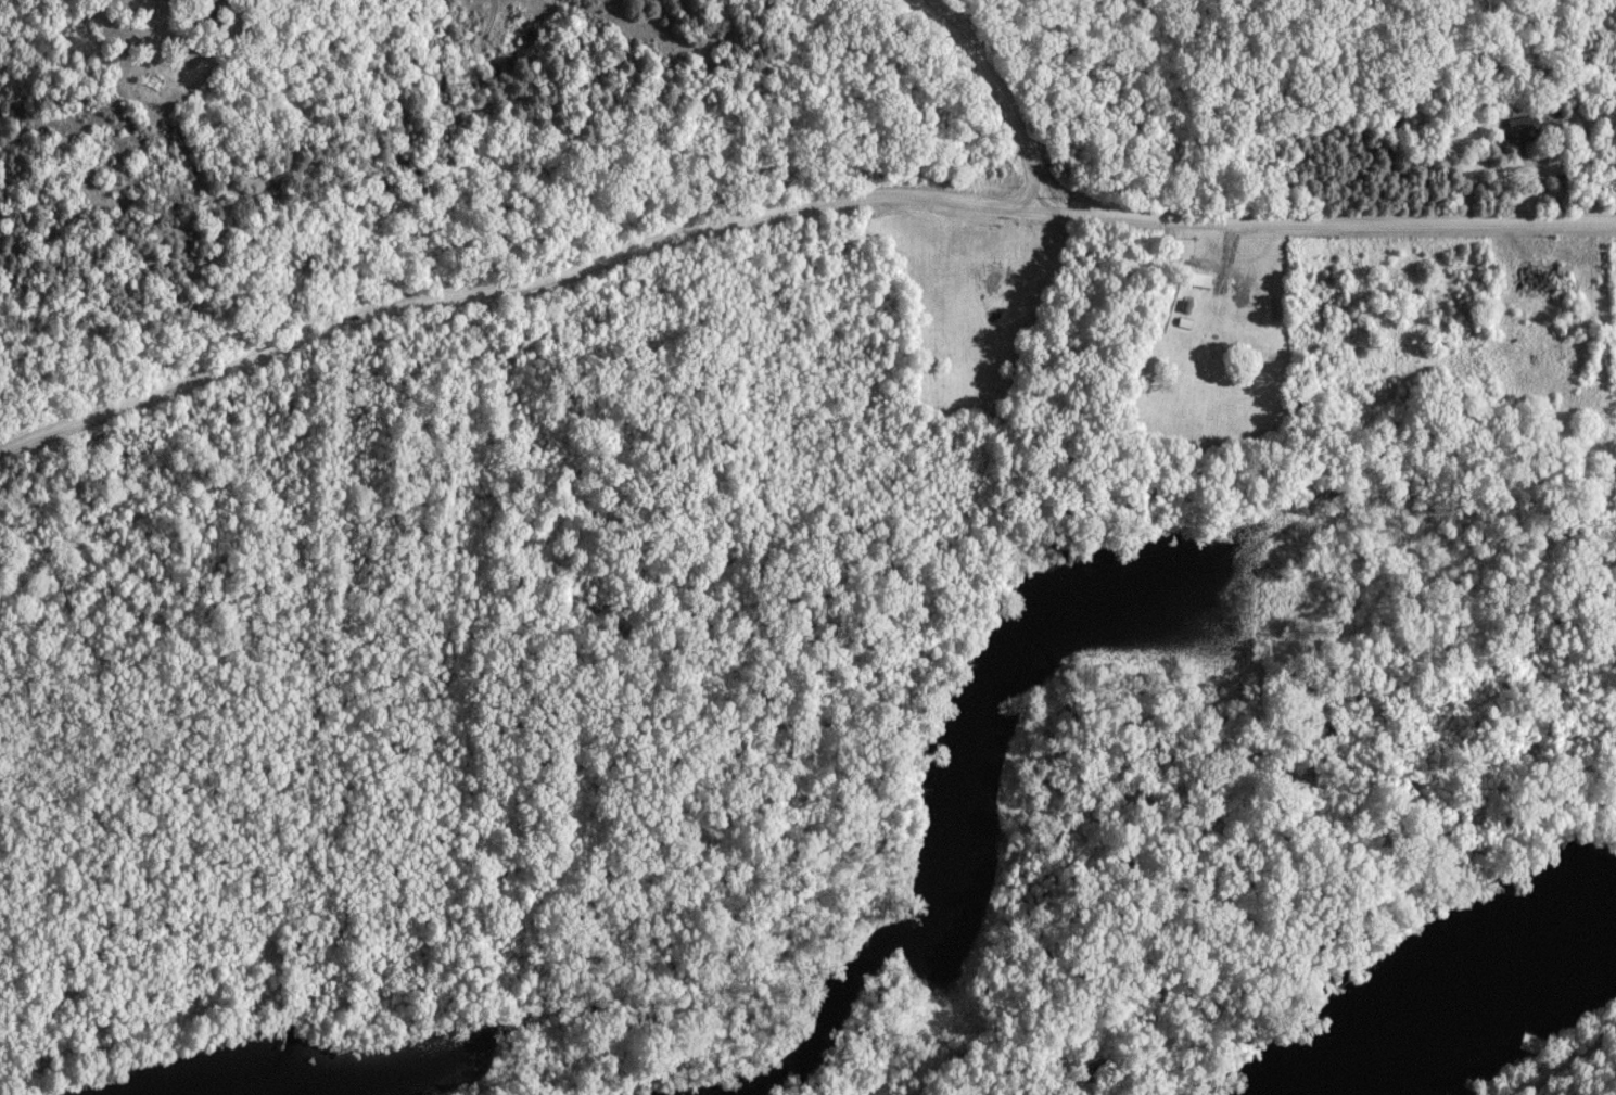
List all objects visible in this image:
road: (997, 90)
building: (1526, 130)
road: (790, 211)
building: (996, 278)
building: (1200, 280)
building: (1574, 295)
building: (1186, 324)
building: (1302, 395)
river: (1490, 1019)

